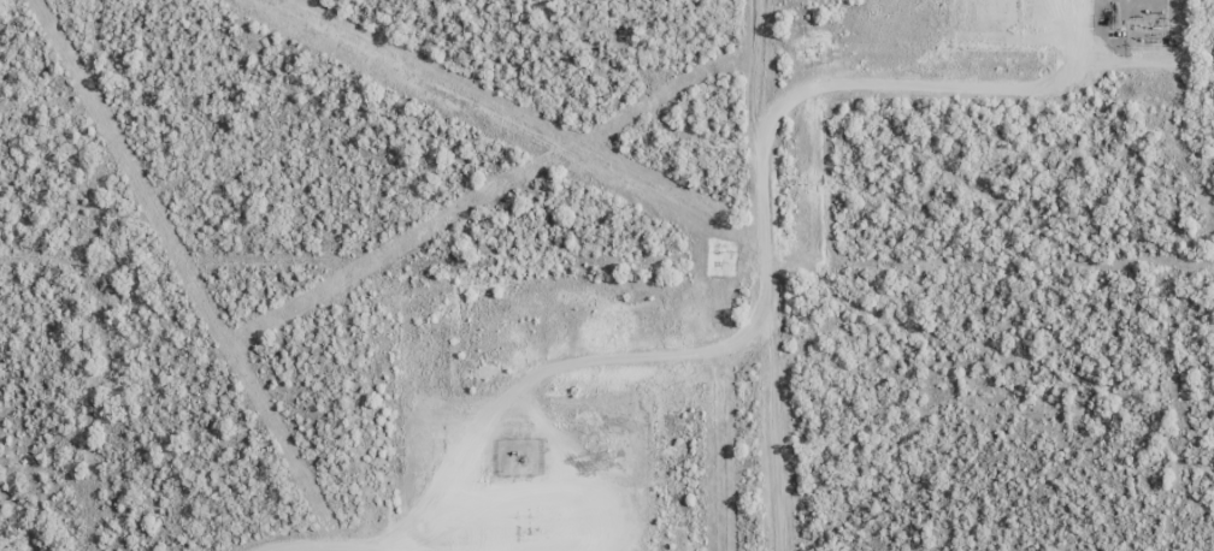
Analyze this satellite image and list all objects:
road: (726, 336)
petroleum well: (525, 462)

